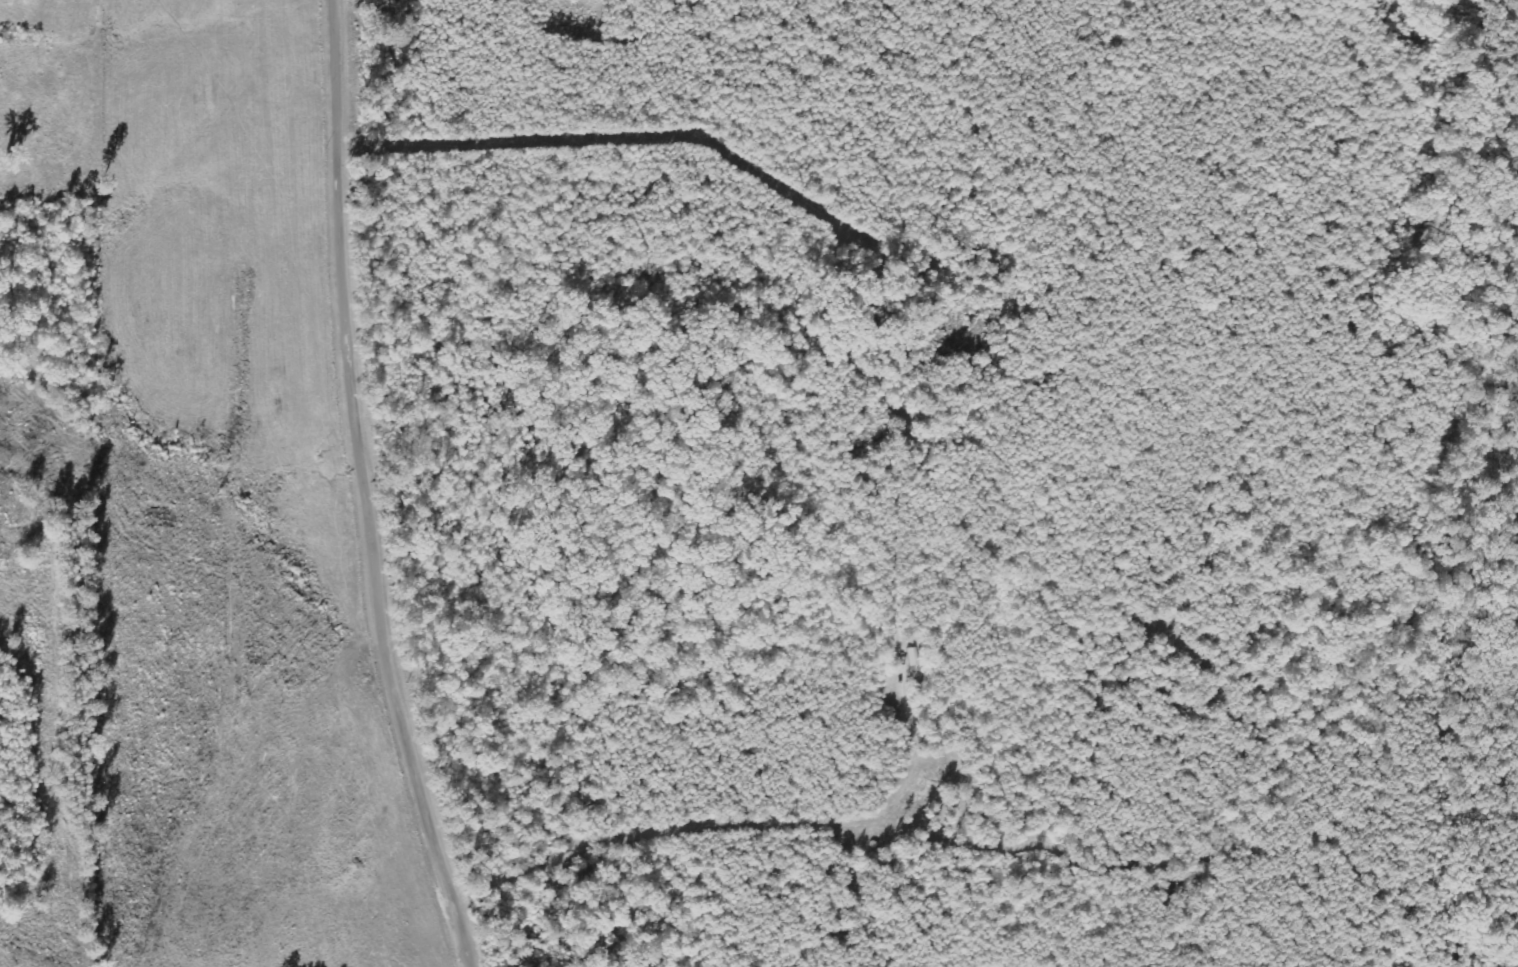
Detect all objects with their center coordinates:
road: (374, 488)
road: (79, 698)

